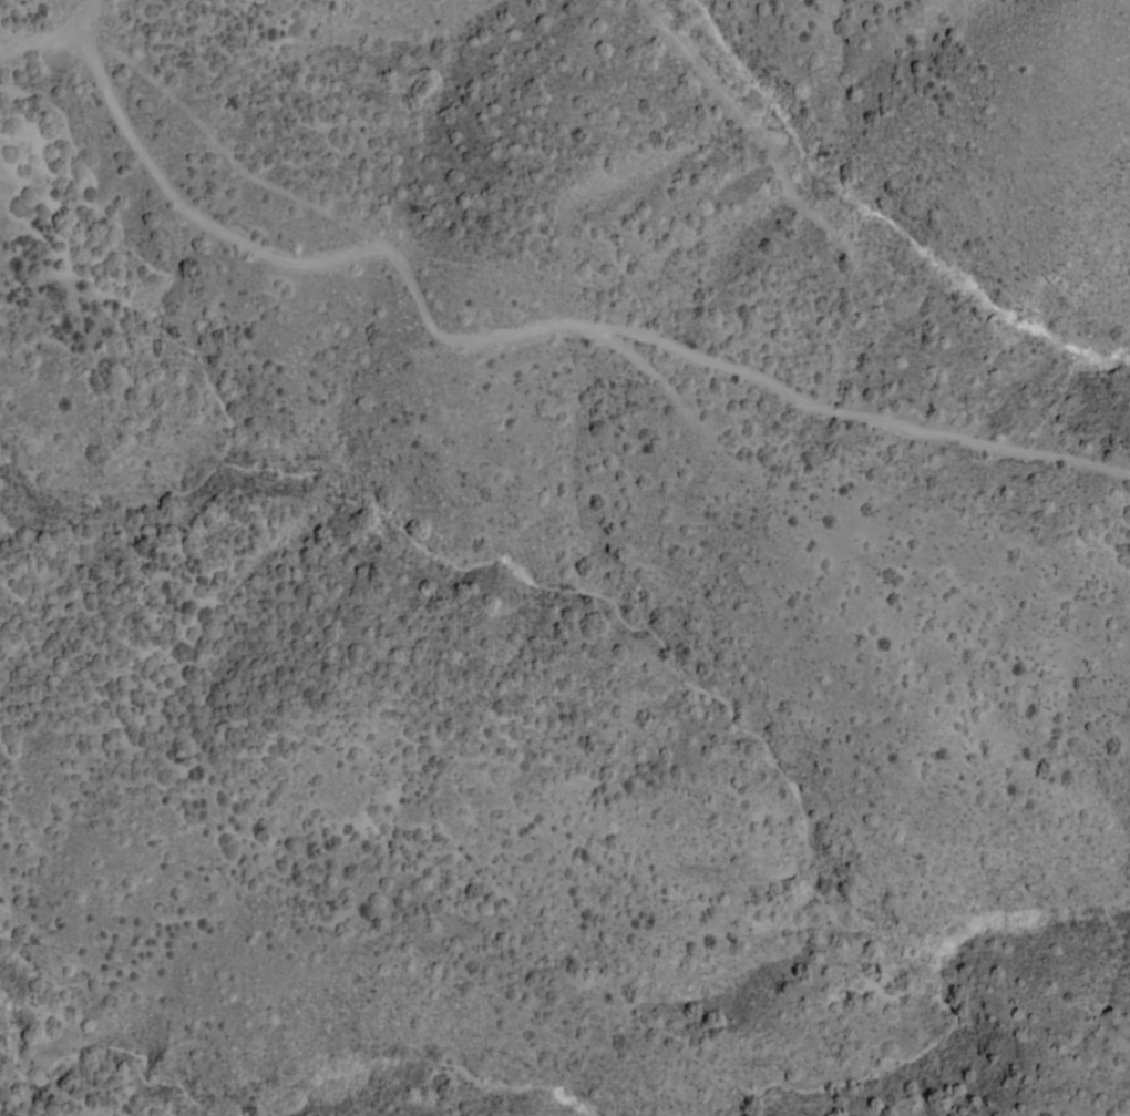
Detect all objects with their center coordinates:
road: (91, 11)
road: (42, 37)
road: (536, 319)

